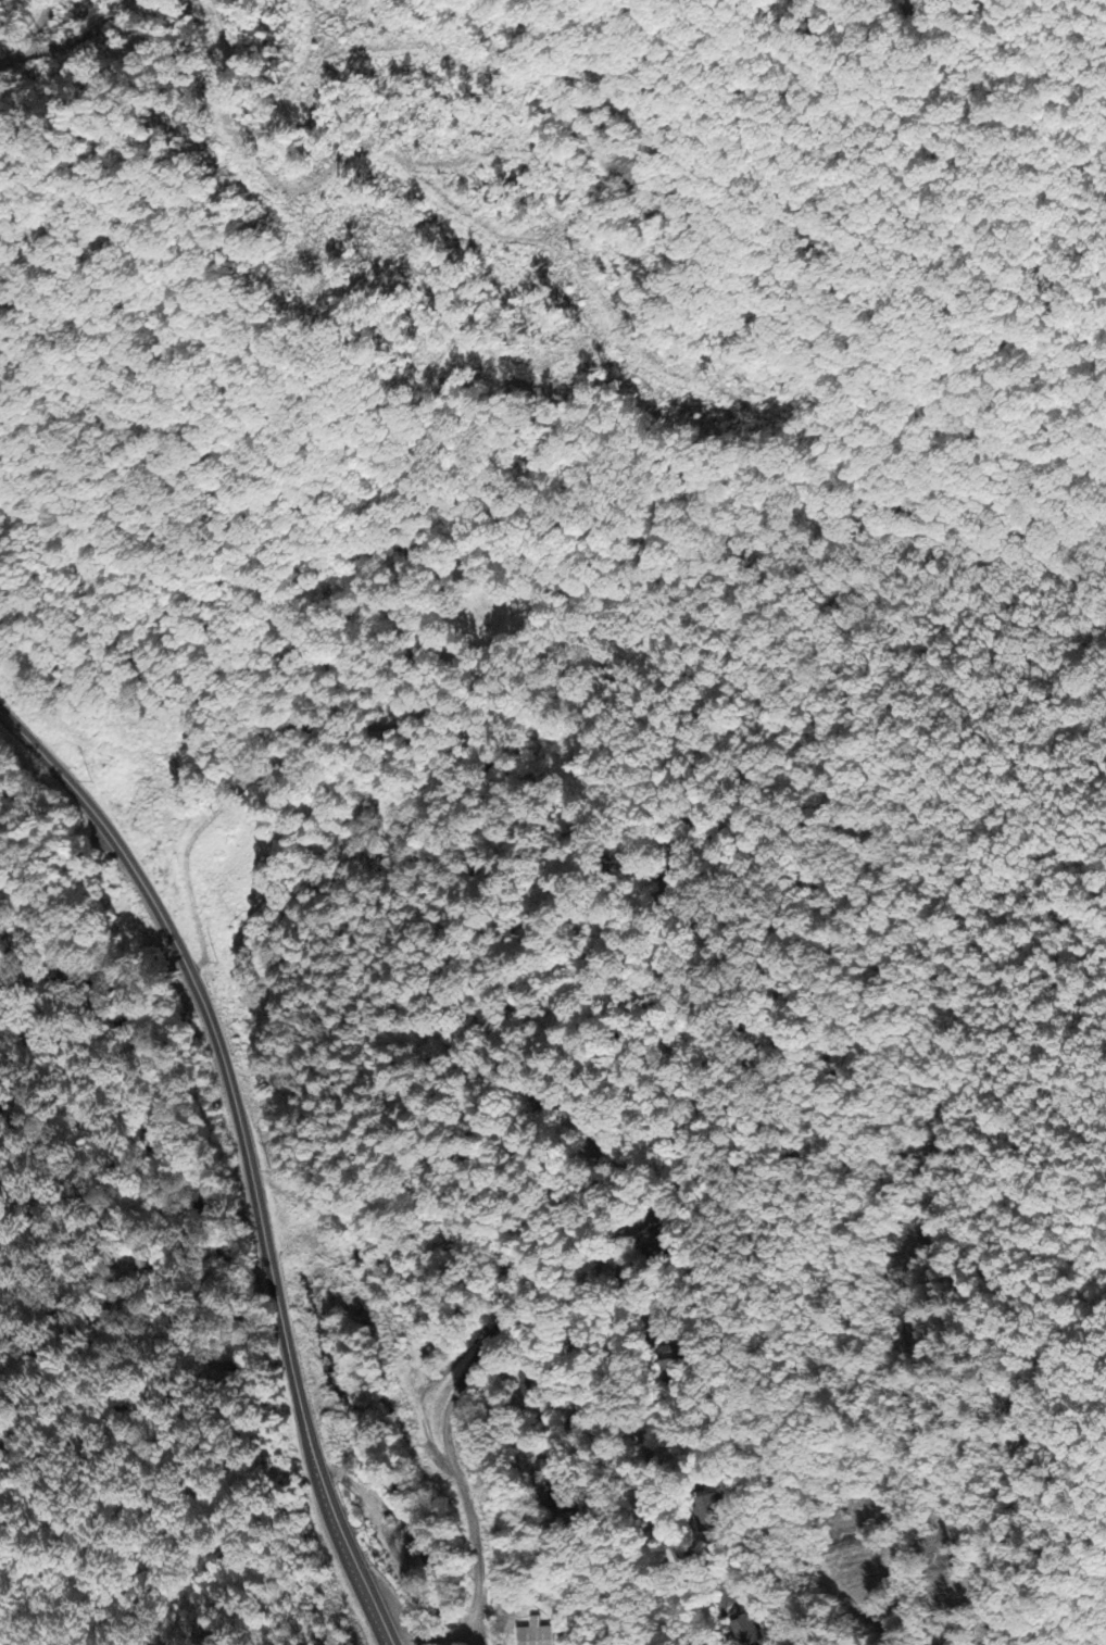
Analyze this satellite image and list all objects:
road: (540, 1108)
road: (244, 1154)
building: (671, 1363)
building: (707, 1514)
building: (744, 1632)
building: (535, 1635)

